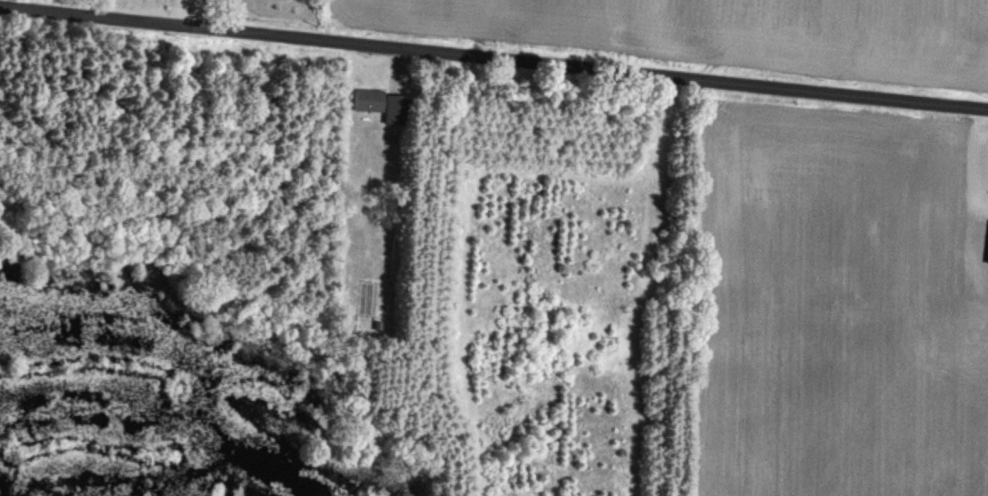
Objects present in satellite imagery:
road: (494, 56)
building: (370, 99)
building: (400, 109)

